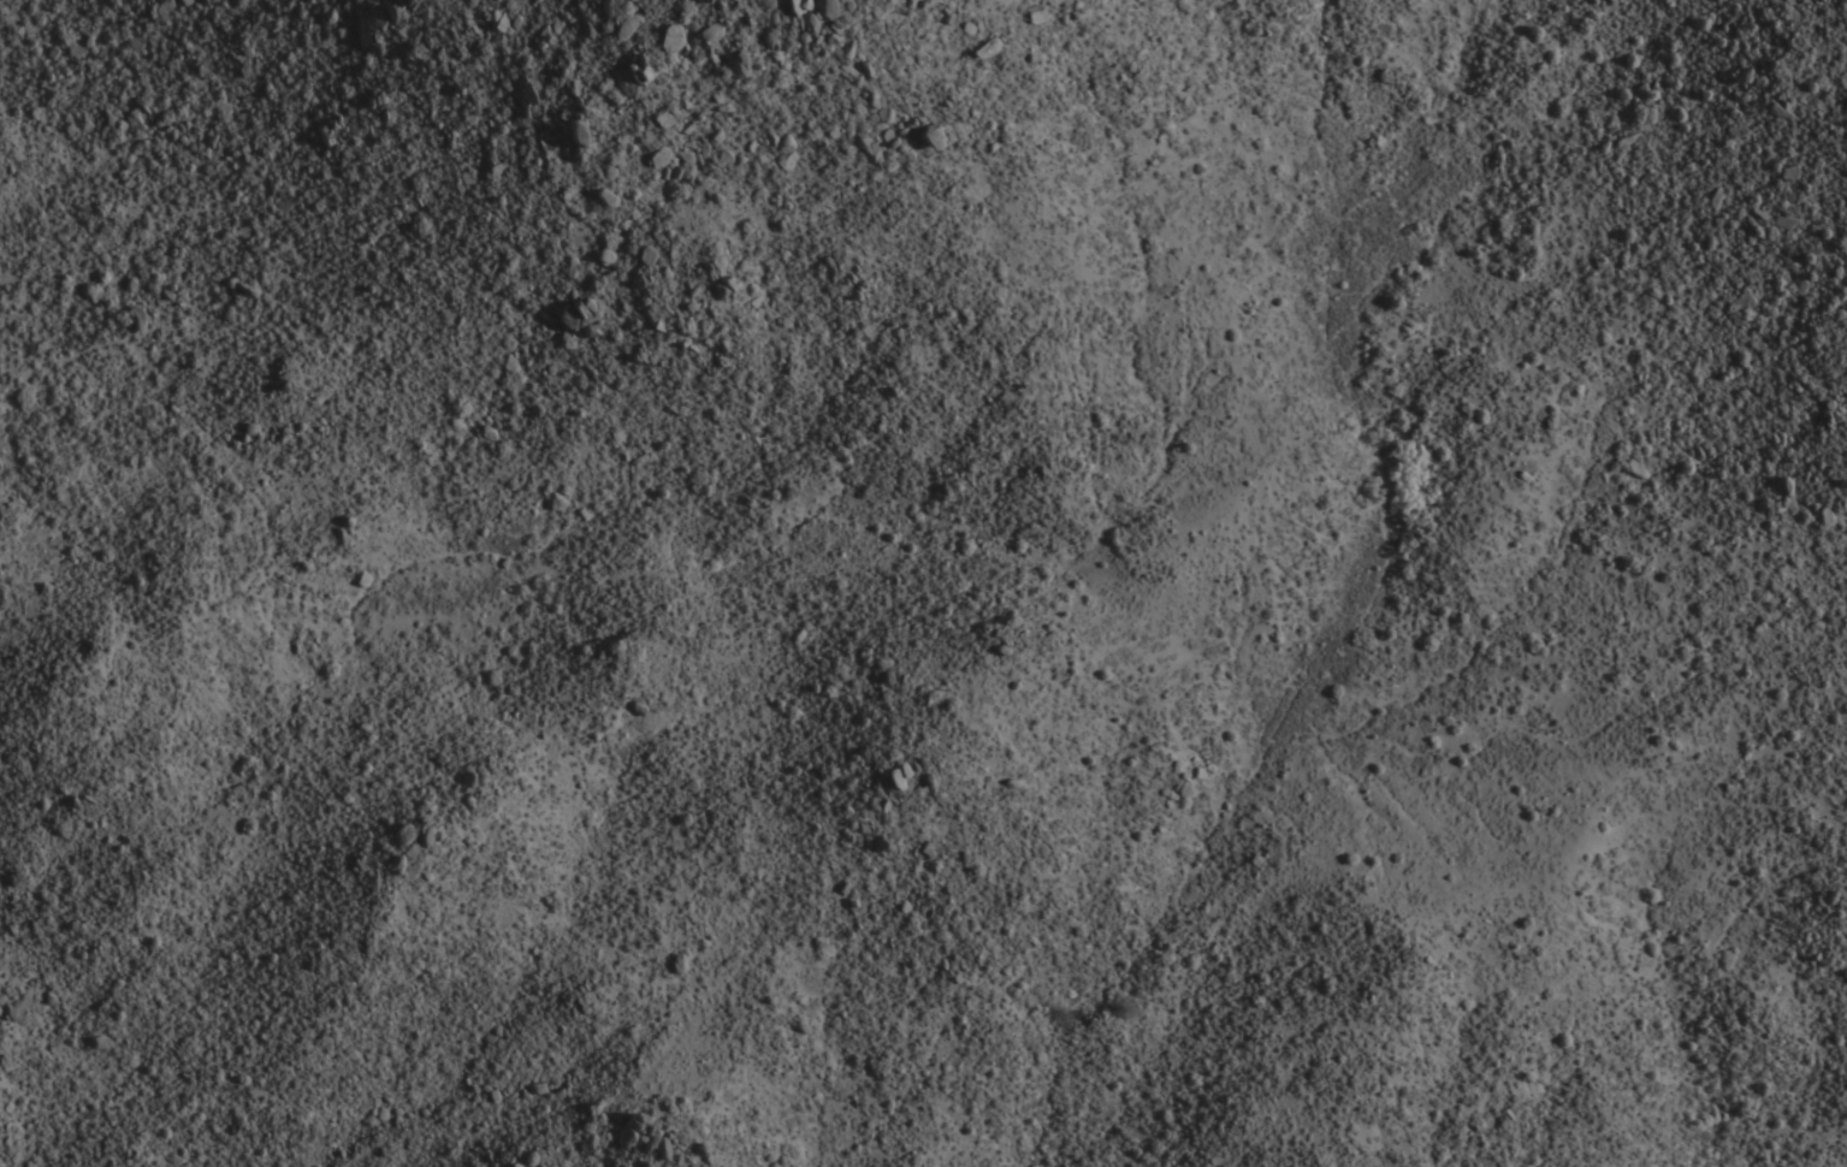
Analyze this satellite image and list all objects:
building: (701, 0)
building: (510, 20)
building: (739, 65)
building: (643, 72)
building: (667, 115)
building: (579, 134)
building: (934, 137)
building: (787, 150)
building: (643, 1136)

